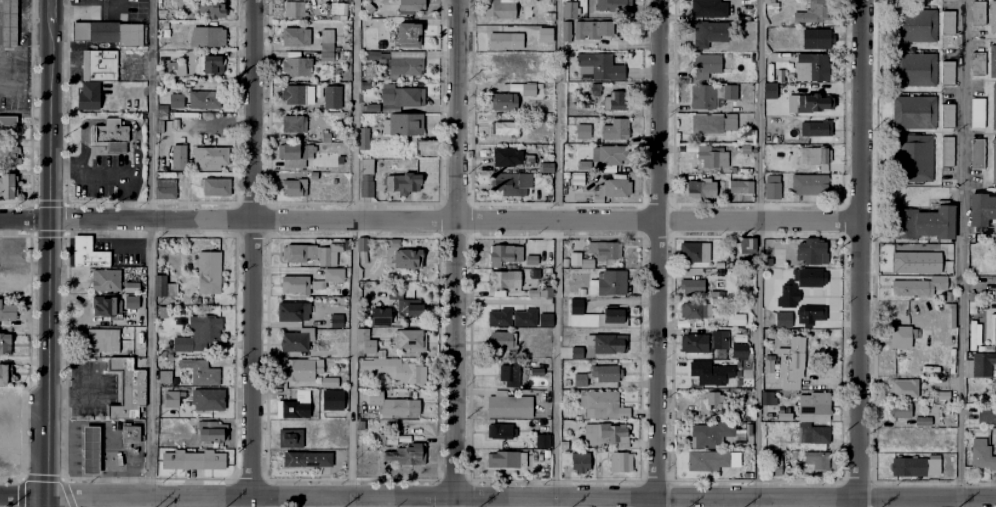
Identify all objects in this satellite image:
building: (406, 4)
building: (610, 4)
building: (210, 7)
building: (495, 8)
building: (709, 8)
building: (340, 9)
road: (91, 10)
building: (295, 10)
building: (571, 10)
road: (50, 11)
building: (523, 11)
building: (810, 12)
building: (547, 14)
building: (978, 14)
building: (993, 19)
building: (944, 20)
building: (8, 24)
building: (916, 26)
building: (591, 29)
building: (566, 31)
building: (108, 32)
building: (404, 33)
building: (709, 33)
building: (206, 35)
building: (545, 35)
building: (296, 37)
building: (817, 39)
building: (506, 40)
building: (327, 45)
building: (782, 58)
building: (994, 61)
building: (209, 63)
building: (706, 63)
building: (291, 64)
building: (976, 65)
building: (101, 66)
building: (405, 67)
building: (599, 67)
building: (811, 67)
building: (176, 69)
building: (508, 69)
building: (546, 70)
building: (916, 70)
building: (767, 74)
building: (949, 74)
building: (776, 77)
road: (24, 79)
building: (528, 89)
building: (595, 90)
building: (729, 92)
building: (770, 92)
building: (345, 94)
building: (87, 95)
building: (294, 95)
building: (702, 96)
building: (332, 98)
building: (397, 98)
building: (204, 100)
building: (177, 101)
building: (502, 101)
building: (611, 101)
building: (814, 103)
building: (994, 107)
building: (161, 108)
building: (914, 113)
building: (978, 113)
building: (947, 117)
road: (115, 120)
building: (722, 122)
building: (294, 124)
building: (8, 125)
building: (402, 125)
building: (508, 129)
building: (615, 129)
building: (816, 129)
building: (583, 130)
building: (109, 131)
building: (326, 135)
building: (363, 139)
building: (775, 139)
building: (745, 149)
building: (295, 151)
building: (947, 152)
building: (977, 153)
building: (7, 155)
building: (613, 155)
building: (709, 155)
building: (178, 156)
building: (508, 157)
building: (813, 157)
building: (210, 158)
building: (915, 158)
building: (529, 159)
building: (993, 160)
building: (583, 165)
road: (62, 167)
building: (547, 168)
parking lot: (106, 176)
road: (105, 177)
building: (567, 178)
building: (366, 179)
building: (7, 184)
building: (403, 184)
building: (512, 184)
building: (802, 184)
building: (215, 187)
building: (739, 187)
building: (772, 187)
building: (163, 188)
building: (294, 188)
building: (614, 188)
building: (700, 189)
road: (125, 198)
building: (982, 210)
road: (24, 218)
road: (454, 219)
building: (923, 223)
building: (394, 243)
building: (362, 245)
building: (745, 246)
road: (149, 247)
building: (532, 247)
road: (556, 247)
building: (606, 250)
building: (694, 252)
building: (811, 252)
building: (87, 253)
road: (252, 253)
building: (312, 253)
road: (353, 253)
road: (455, 253)
road: (656, 253)
road: (758, 253)
road: (859, 253)
road: (960, 253)
building: (505, 255)
road: (48, 258)
building: (408, 258)
building: (574, 259)
building: (564, 261)
building: (767, 262)
building: (915, 262)
building: (587, 263)
building: (969, 267)
building: (713, 271)
building: (208, 272)
building: (333, 276)
building: (809, 278)
building: (504, 279)
building: (105, 281)
building: (939, 282)
building: (608, 283)
building: (295, 285)
building: (316, 285)
building: (130, 287)
building: (164, 287)
building: (691, 287)
building: (910, 287)
building: (995, 291)
building: (536, 292)
building: (716, 294)
building: (787, 296)
road: (501, 301)
building: (131, 302)
building: (100, 306)
building: (411, 307)
building: (7, 311)
building: (164, 311)
building: (293, 311)
building: (695, 311)
building: (597, 316)
building: (811, 317)
building: (380, 318)
building: (499, 318)
building: (524, 319)
building: (735, 319)
building: (783, 319)
building: (546, 320)
building: (336, 321)
building: (976, 324)
building: (993, 330)
building: (200, 335)
building: (900, 336)
building: (296, 338)
building: (740, 338)
building: (410, 339)
building: (500, 339)
building: (718, 339)
building: (103, 340)
building: (365, 341)
building: (541, 342)
building: (604, 342)
building: (693, 342)
building: (4, 343)
building: (920, 345)
building: (576, 352)
building: (950, 353)
building: (739, 354)
building: (767, 359)
building: (791, 363)
building: (983, 365)
building: (967, 368)
building: (947, 369)
building: (300, 370)
building: (397, 370)
building: (537, 371)
building: (200, 372)
building: (711, 372)
building: (5, 374)
building: (509, 374)
building: (606, 374)
building: (164, 376)
building: (580, 380)
building: (330, 382)
building: (565, 382)
building: (128, 388)
building: (744, 388)
building: (904, 388)
building: (994, 391)
building: (943, 397)
building: (768, 398)
building: (714, 399)
building: (208, 400)
building: (333, 401)
building: (170, 402)
building: (814, 403)
building: (393, 404)
building: (510, 405)
building: (602, 405)
building: (290, 406)
building: (943, 409)
building: (901, 411)
building: (733, 414)
building: (986, 414)
building: (784, 416)
building: (923, 421)
building: (165, 422)
building: (748, 429)
building: (500, 431)
building: (213, 432)
building: (592, 434)
building: (710, 434)
building: (128, 435)
building: (613, 435)
building: (820, 435)
building: (287, 438)
building: (385, 438)
building: (543, 441)
building: (562, 443)
building: (89, 450)
building: (406, 454)
building: (983, 455)
building: (308, 459)
building: (502, 459)
building: (734, 459)
building: (193, 460)
building: (707, 461)
building: (580, 462)
building: (621, 462)
building: (820, 462)
building: (774, 465)
building: (797, 465)
building: (919, 466)
road: (22, 495)
road: (520, 495)
road: (45, 501)
road: (94, 501)
road: (555, 501)

